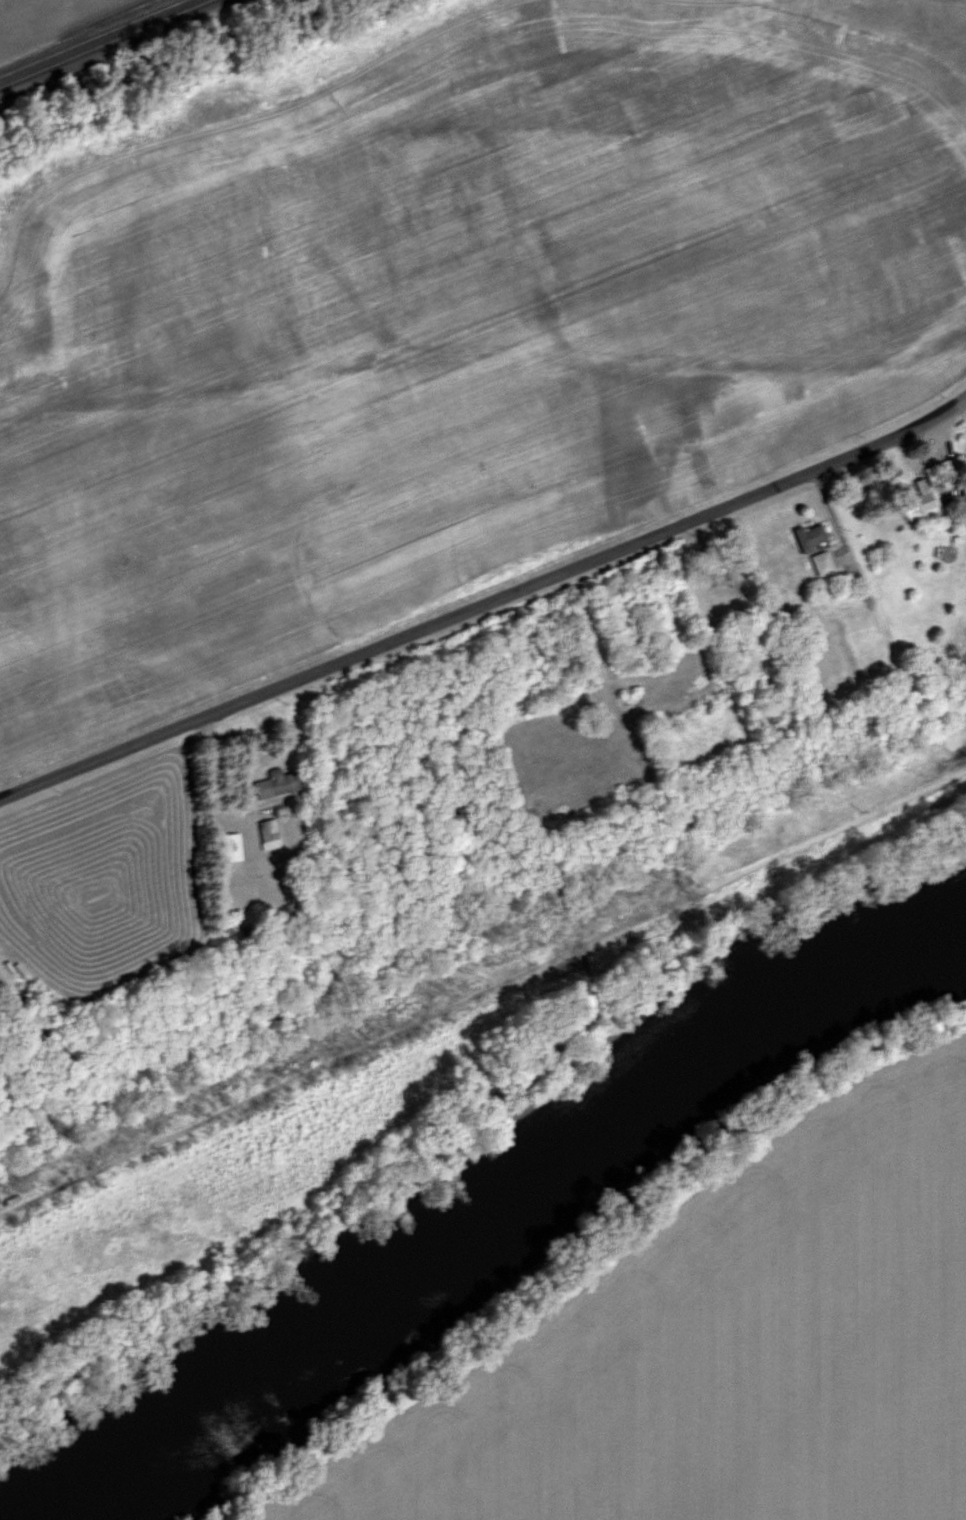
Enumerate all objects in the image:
railway: (92, 38)
railway: (107, 44)
crop: (432, 342)
road: (484, 352)
road: (937, 412)
building: (943, 436)
building: (941, 472)
building: (815, 537)
building: (827, 564)
road: (454, 614)
road: (592, 658)
road: (212, 783)
building: (277, 783)
building: (271, 835)
building: (235, 847)
river: (513, 1203)

